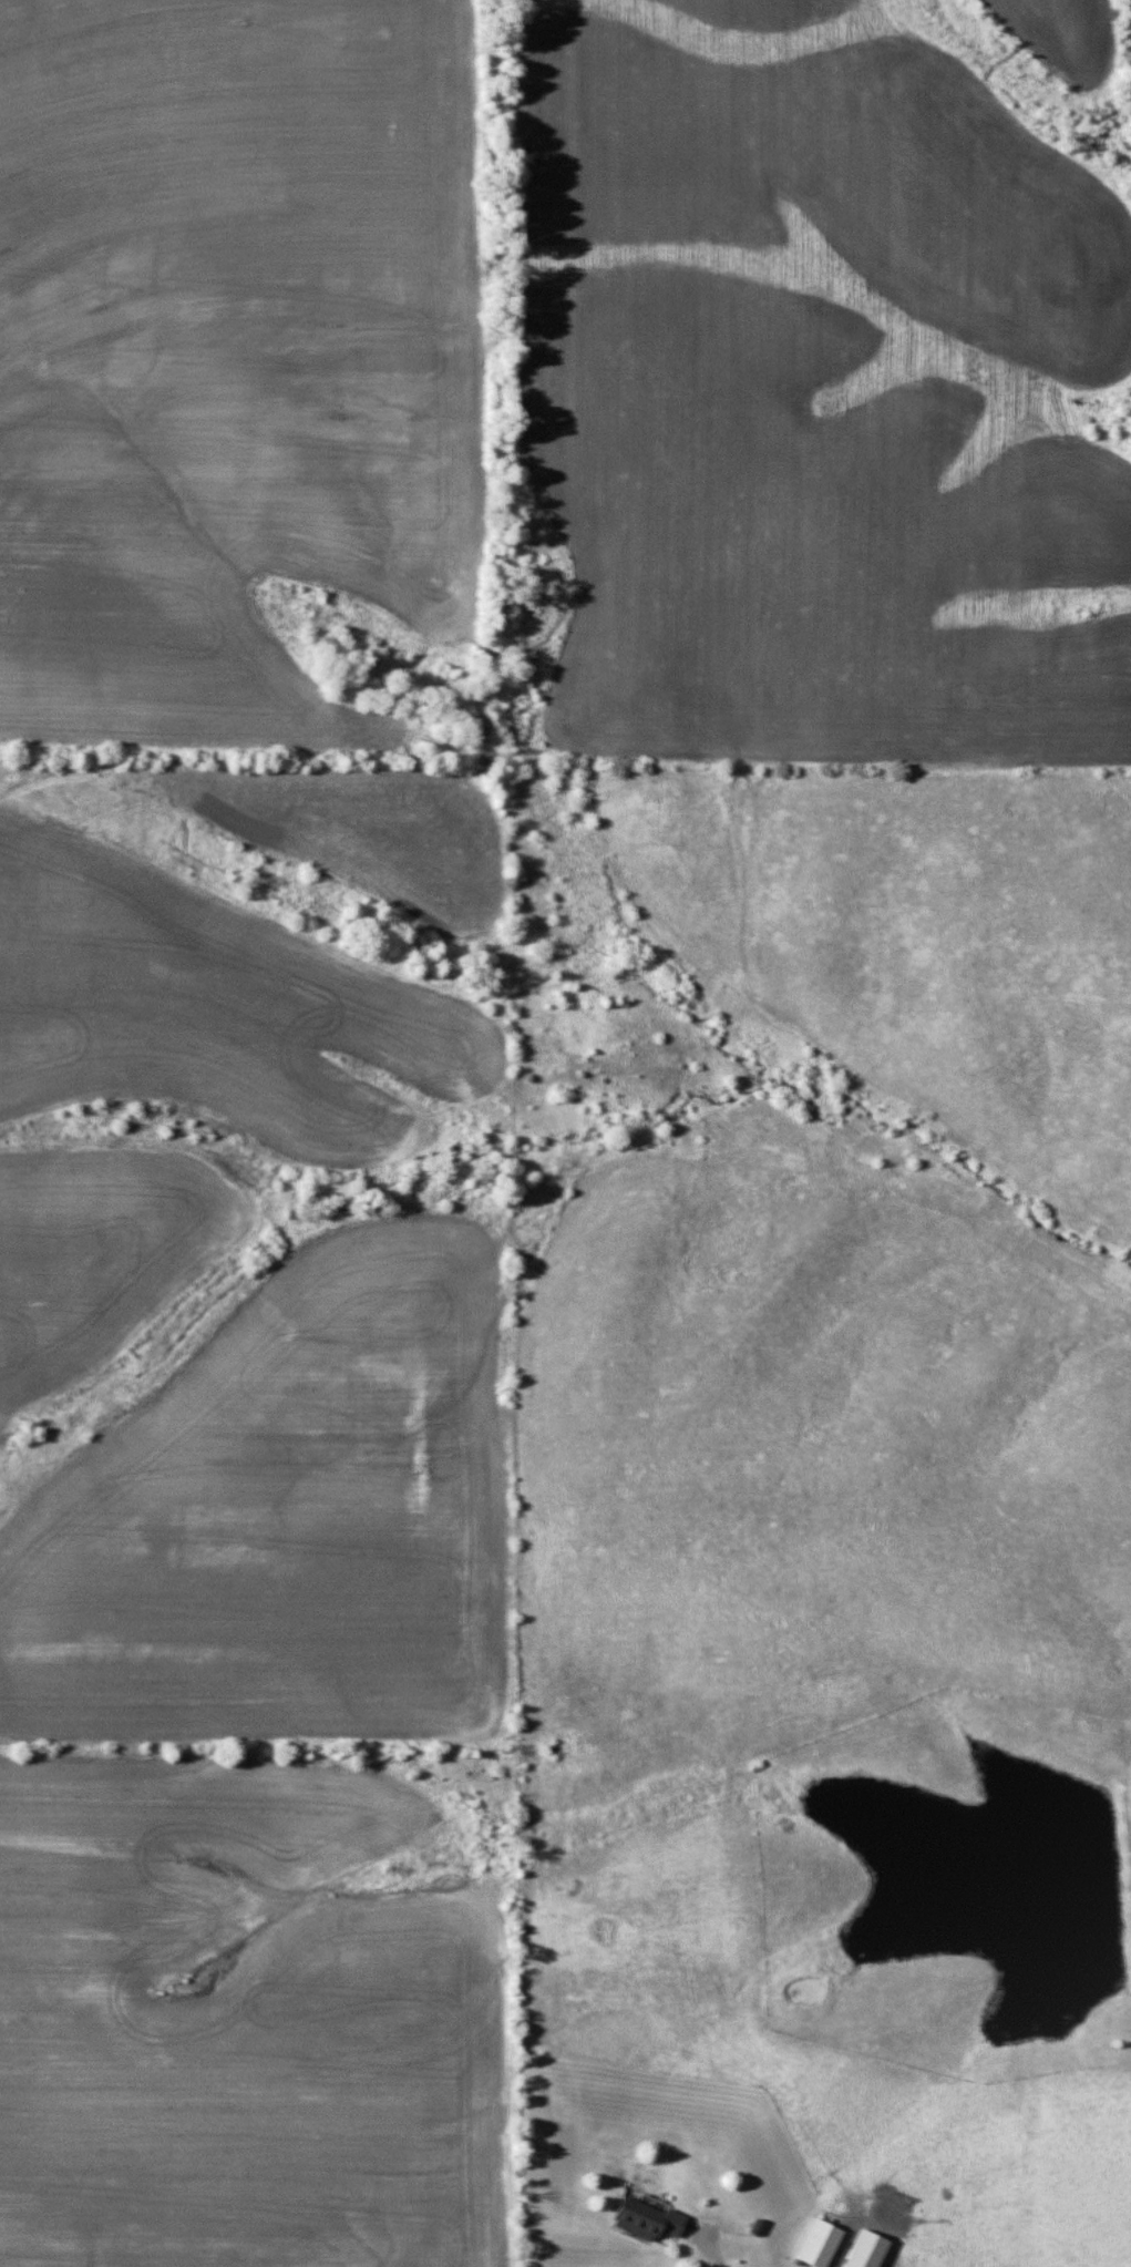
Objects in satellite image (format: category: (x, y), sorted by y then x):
building: (645, 2218)
building: (820, 2244)
building: (867, 2250)
road: (713, 2260)

